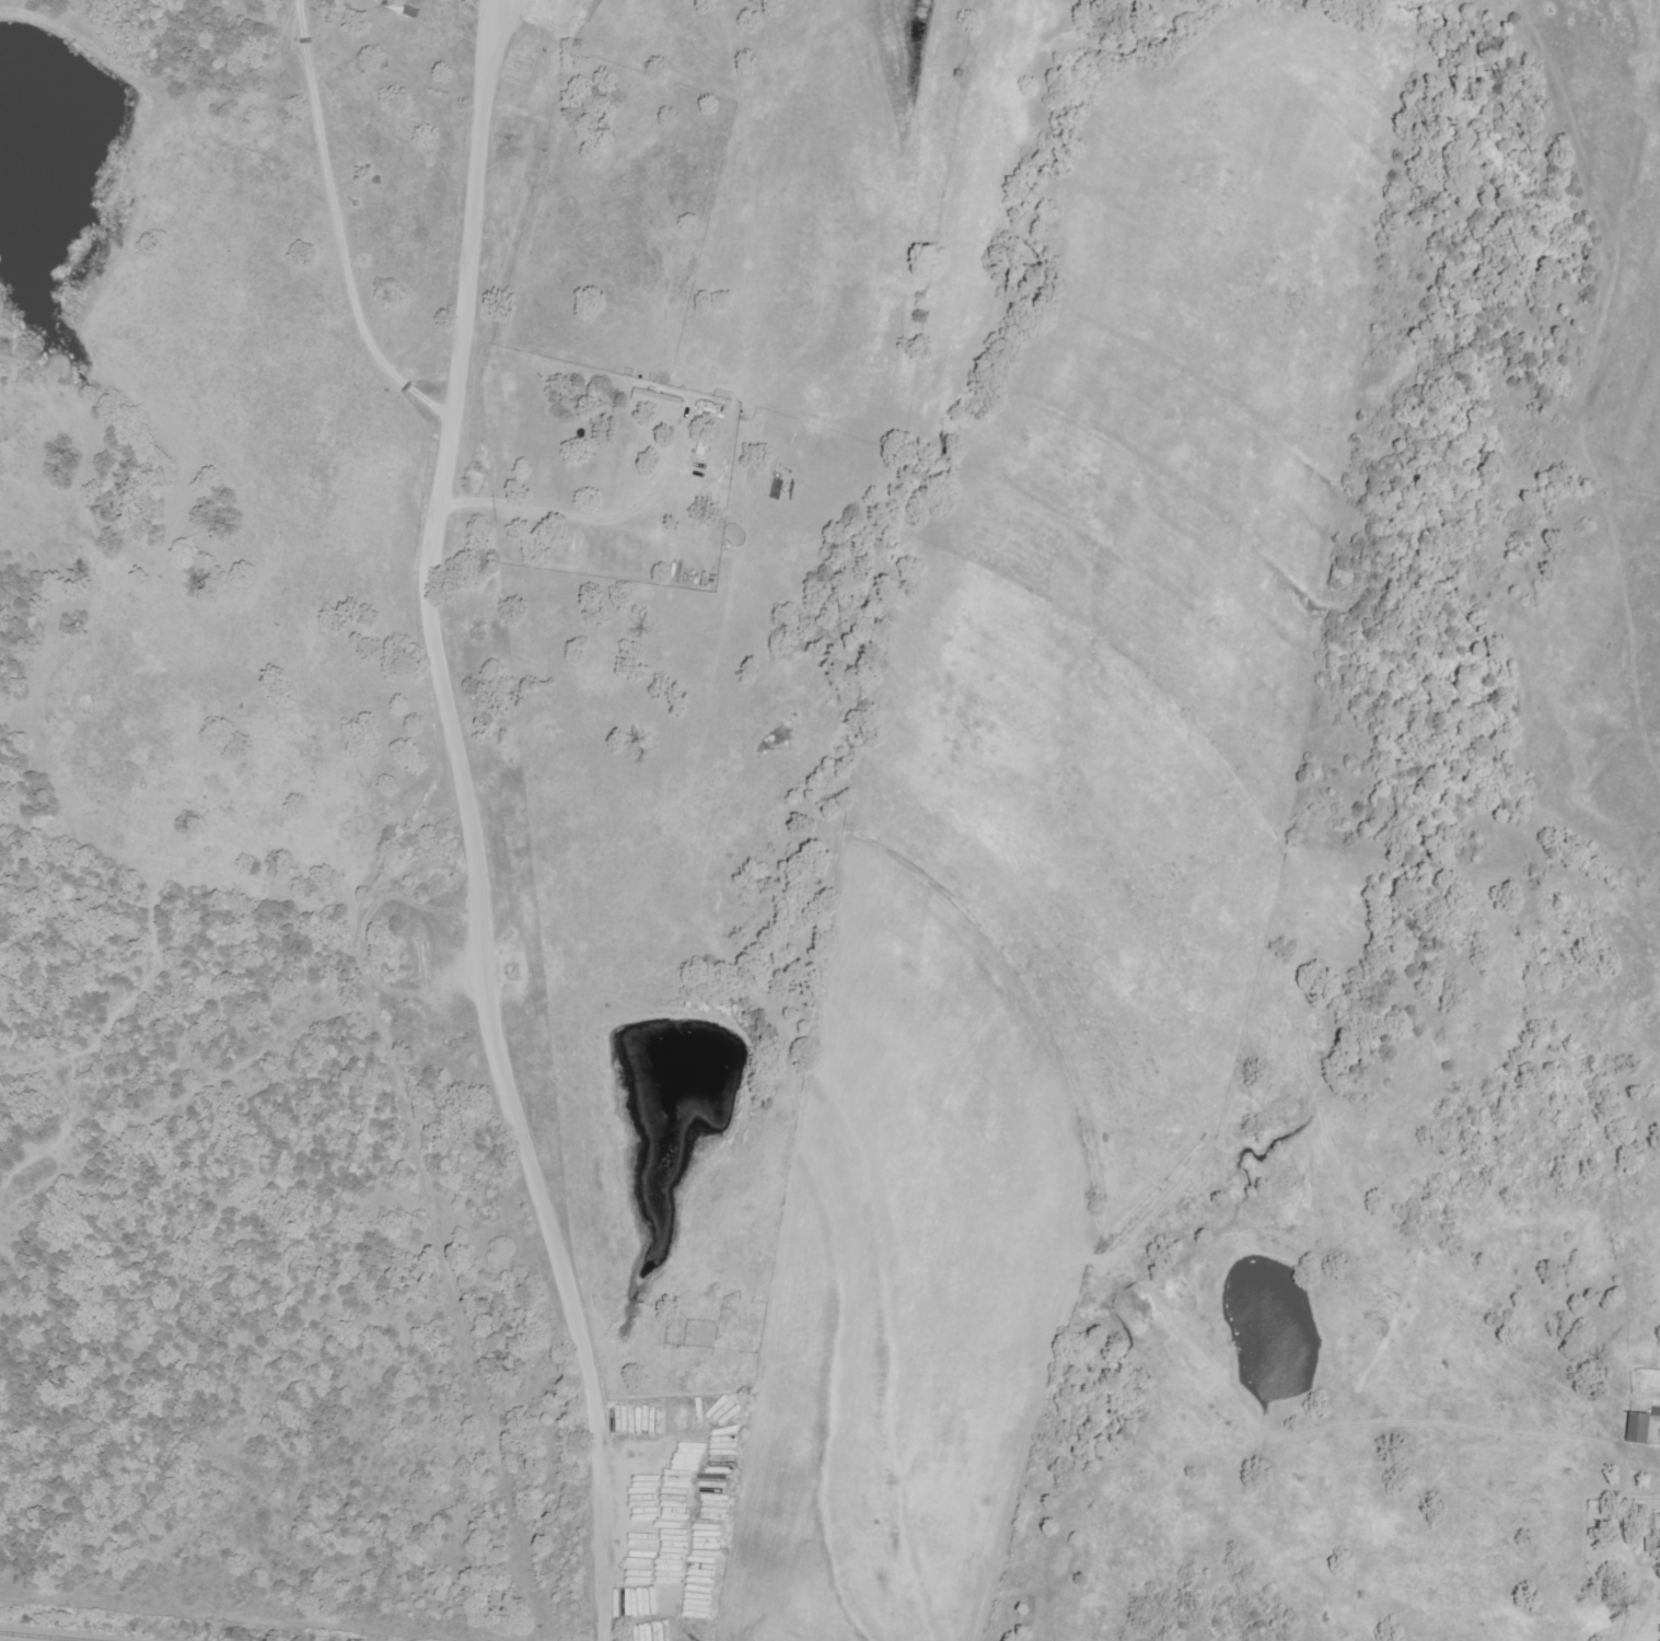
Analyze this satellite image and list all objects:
building: (401, 9)
building: (655, 399)
road: (475, 824)
building: (1641, 1428)
building: (1650, 1535)
road: (1646, 1598)
railway: (56, 1634)

